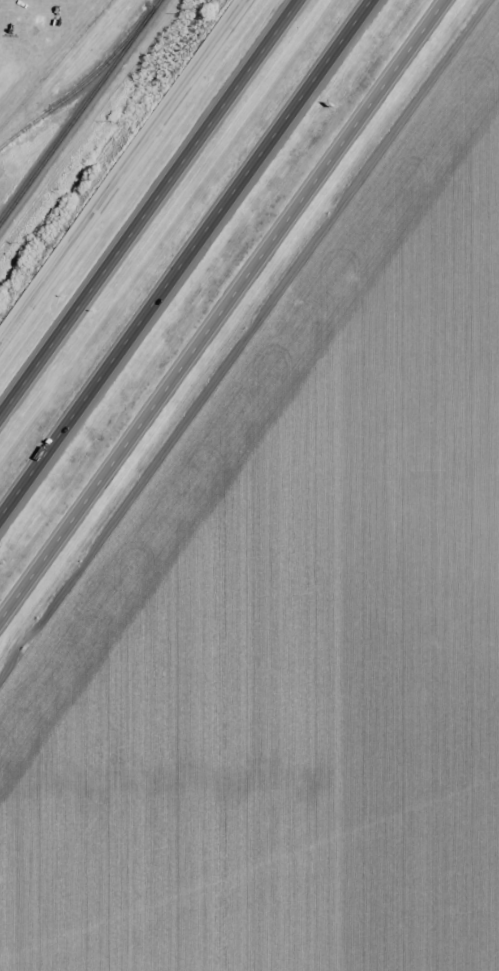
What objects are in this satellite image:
railway: (83, 85)
railway: (79, 111)
road: (123, 172)
road: (149, 207)
road: (184, 257)
road: (221, 309)

